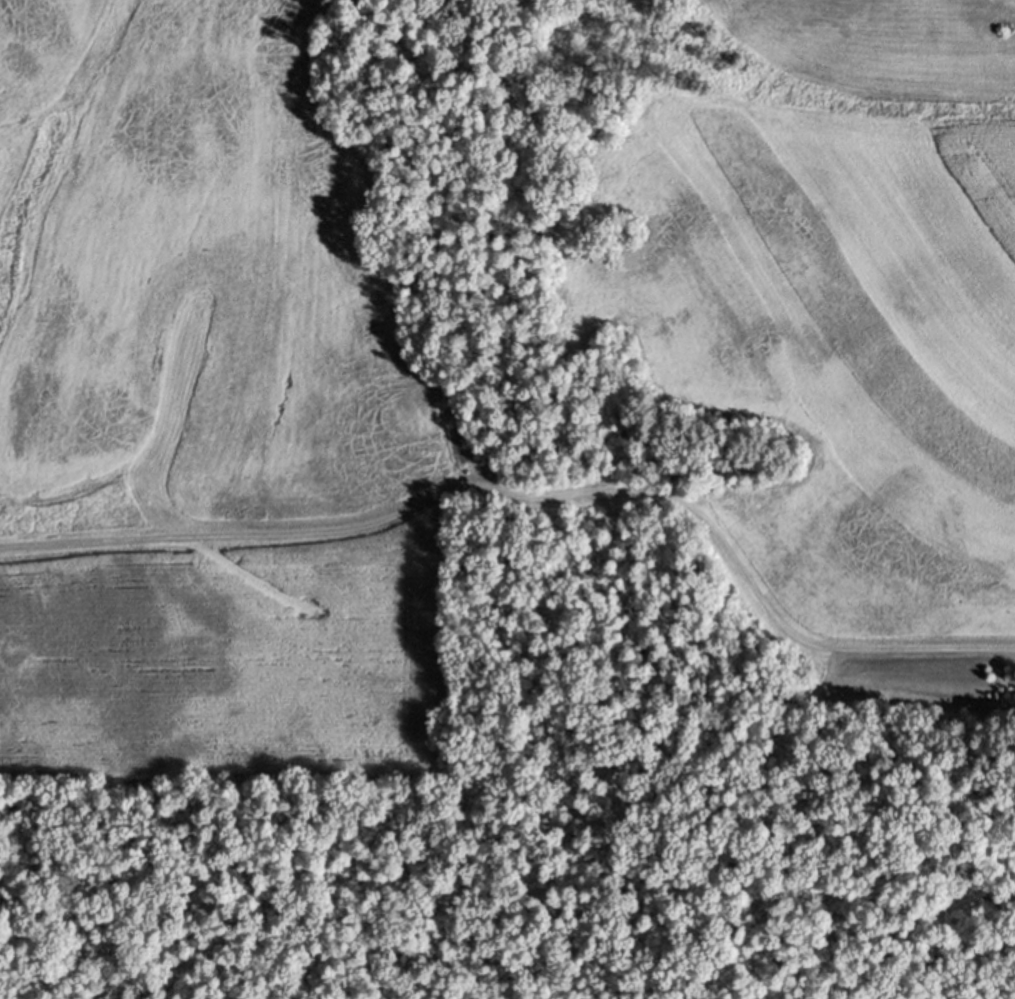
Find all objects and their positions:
building: (661, 656)

